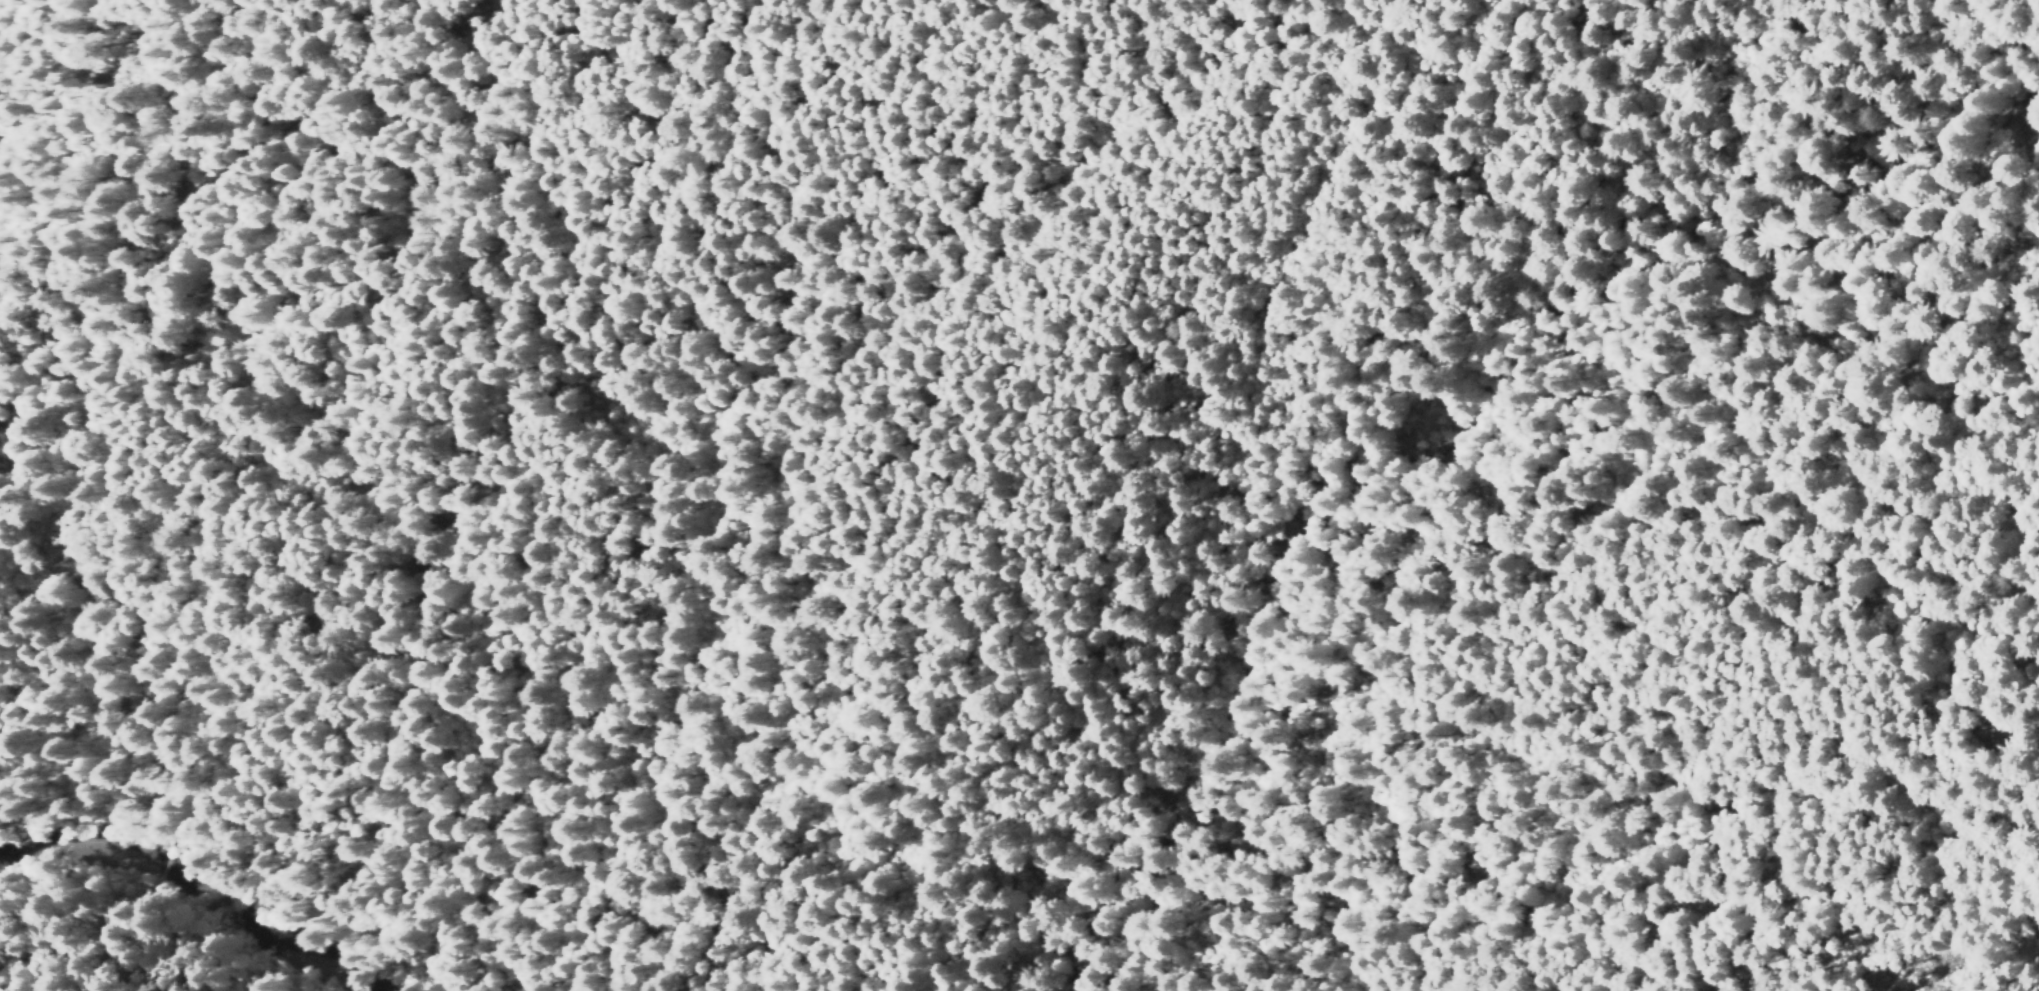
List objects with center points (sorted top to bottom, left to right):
river: (170, 892)

